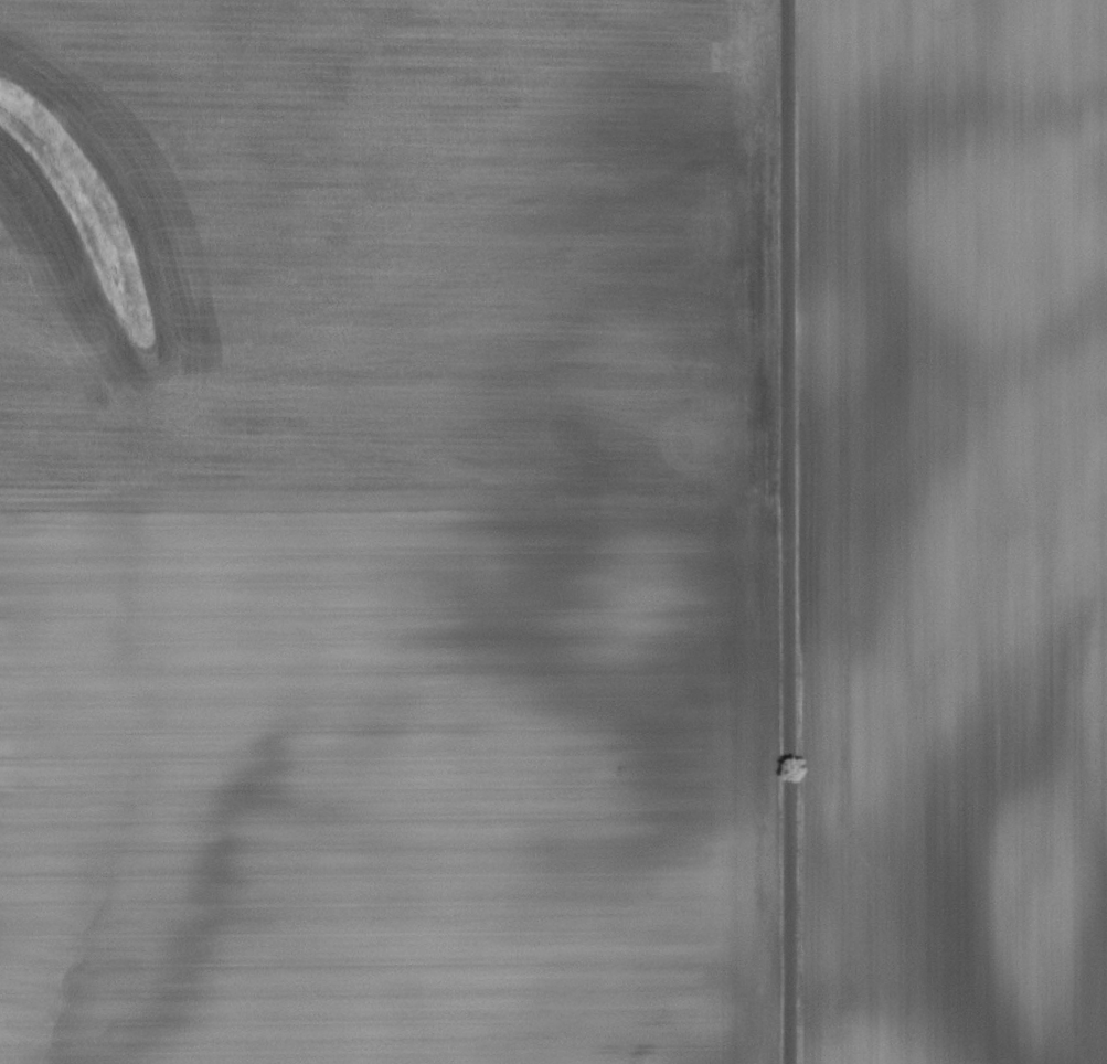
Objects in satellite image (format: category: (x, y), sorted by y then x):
road: (786, 532)

